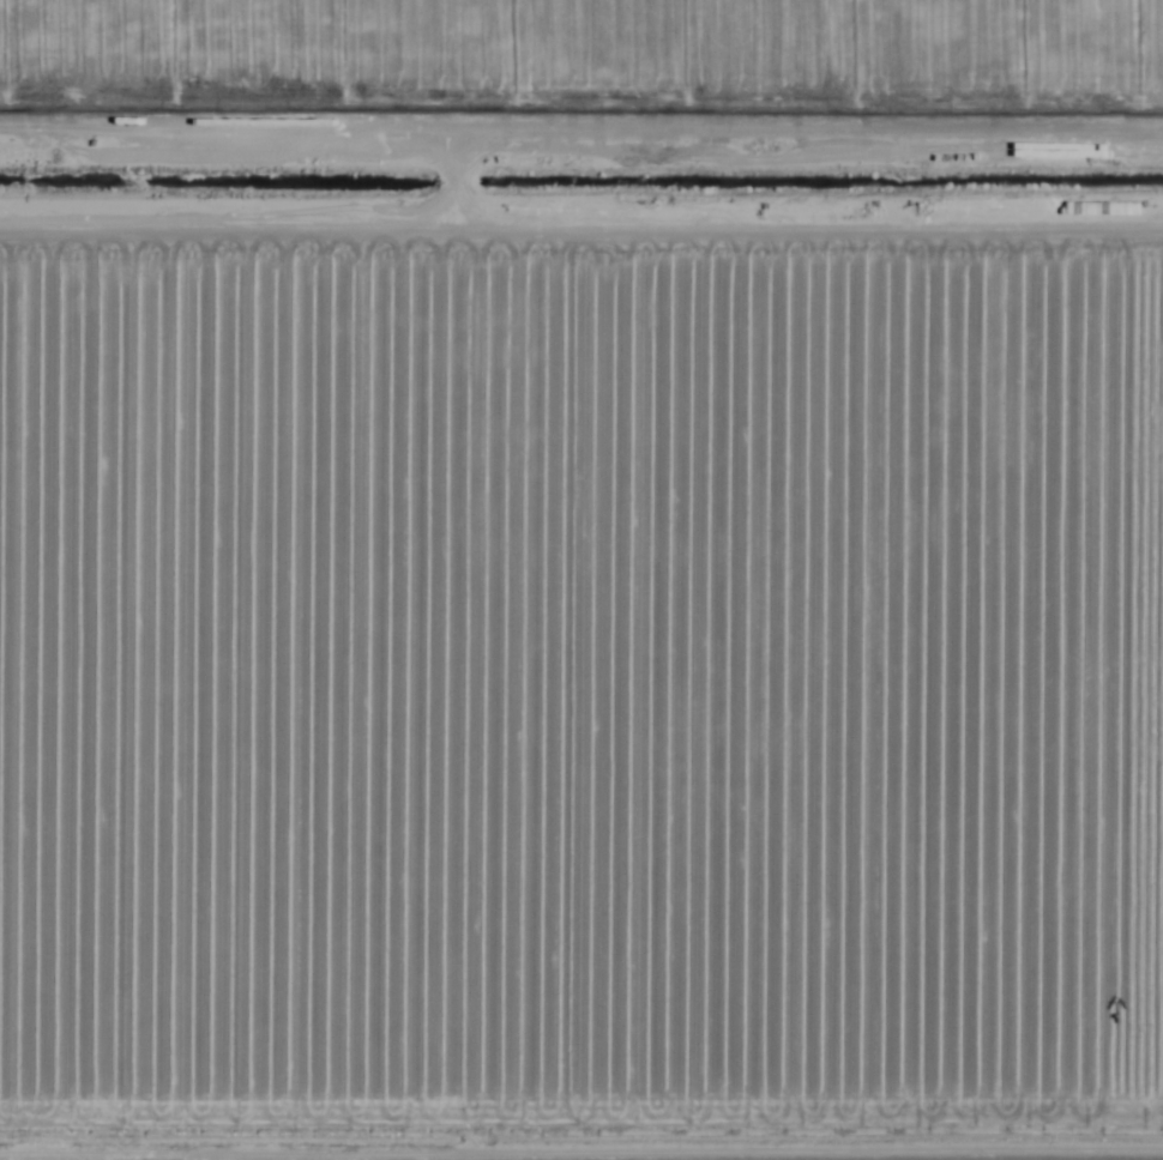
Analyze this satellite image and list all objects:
building: (1143, 158)

